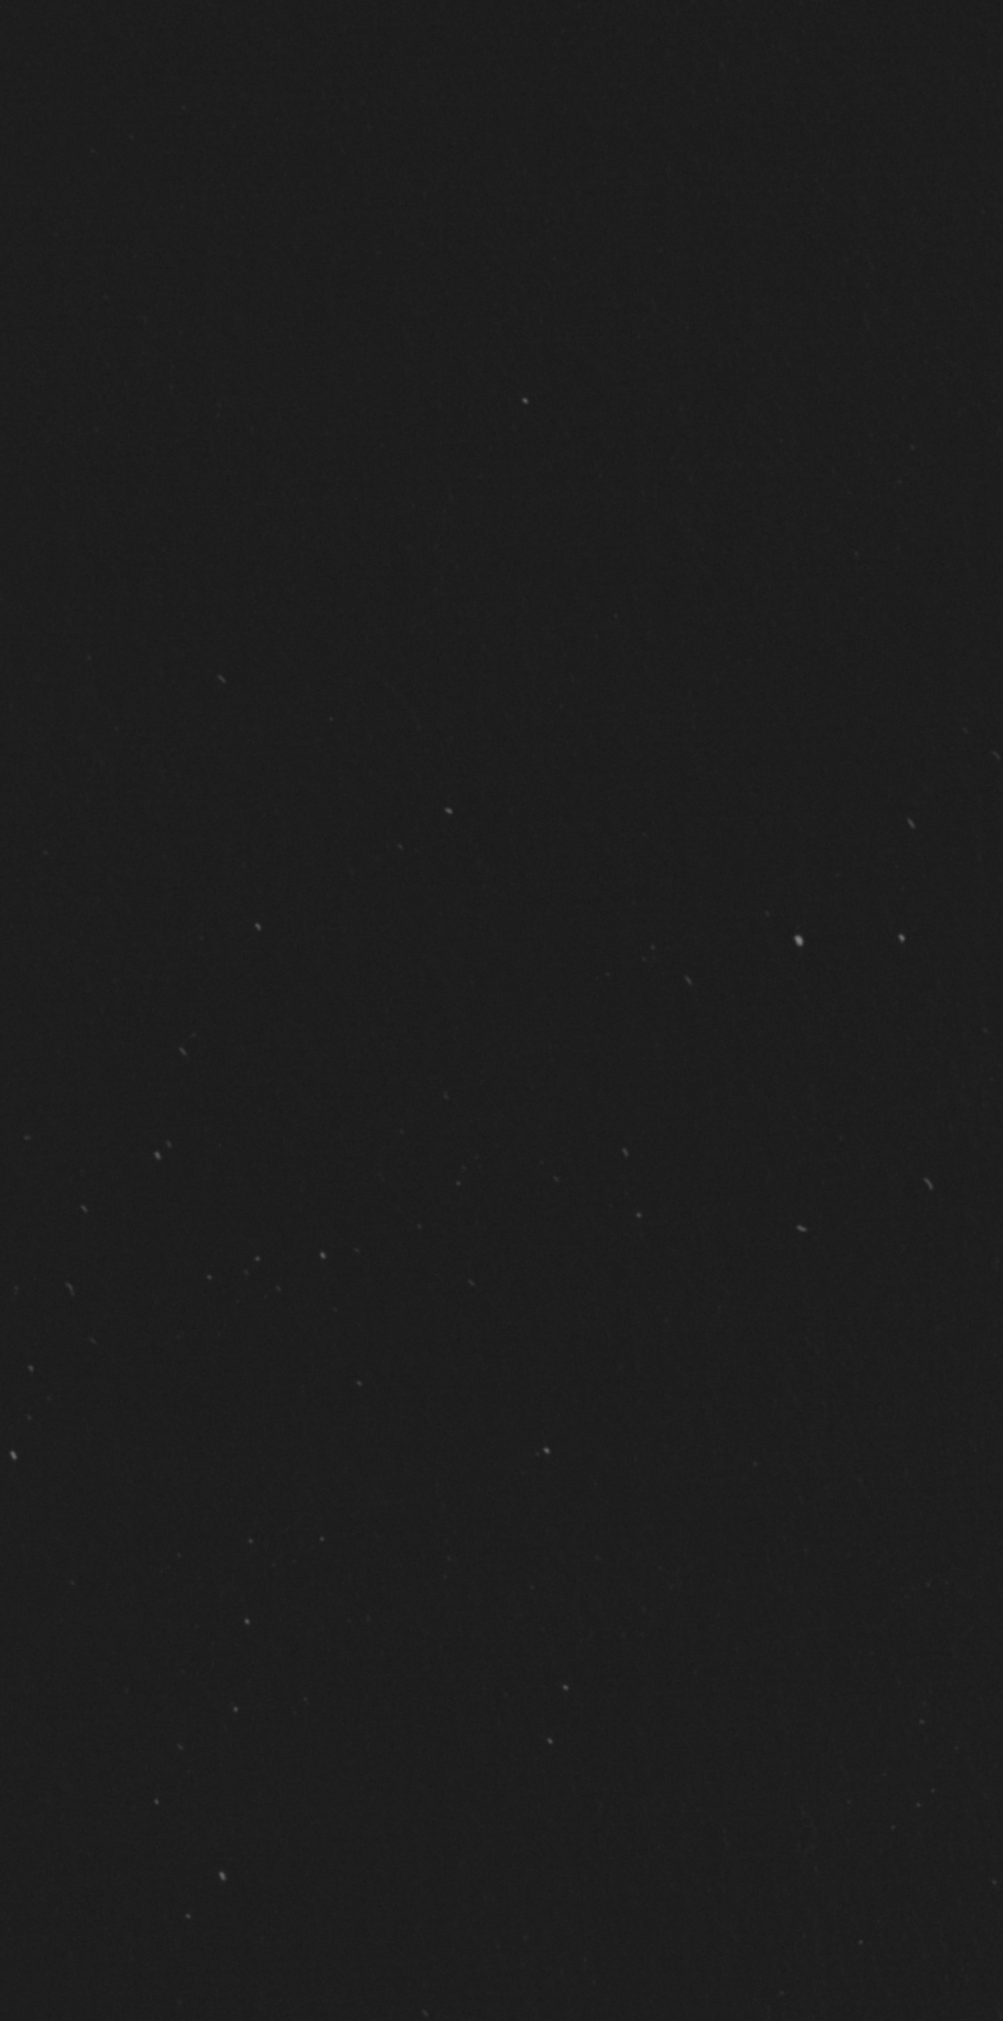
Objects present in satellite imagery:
river: (985, 2012)

